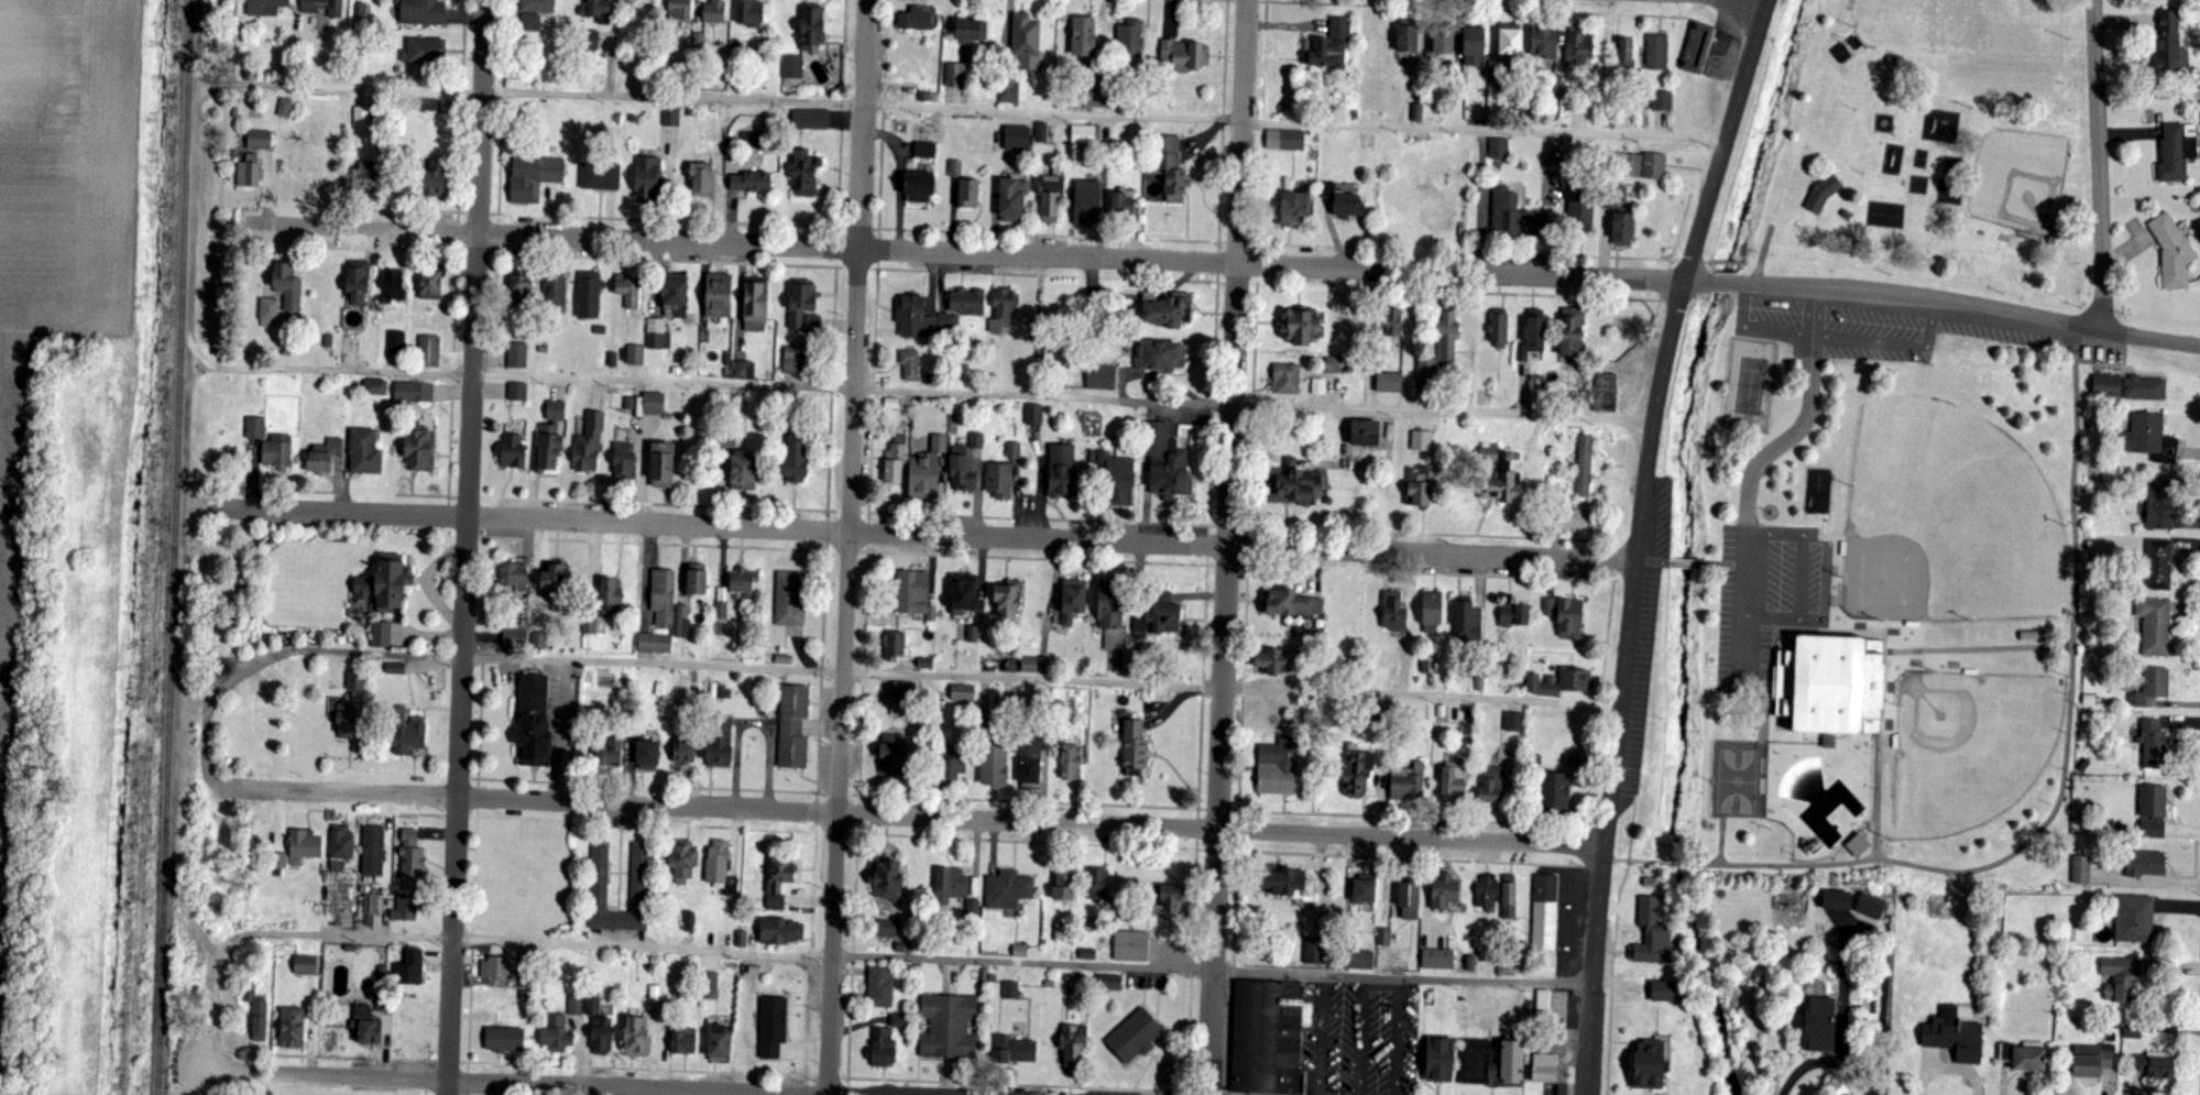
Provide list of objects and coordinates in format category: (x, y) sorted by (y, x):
road: (1247, 0)
building: (266, 7)
building: (324, 7)
building: (679, 10)
building: (600, 11)
building: (422, 12)
building: (714, 12)
building: (534, 13)
building: (748, 13)
building: (917, 19)
building: (812, 28)
building: (968, 30)
building: (1083, 36)
building: (1408, 39)
building: (1131, 40)
building: (1511, 40)
building: (591, 41)
building: (1443, 42)
building: (1544, 42)
building: (1026, 43)
building: (1474, 45)
building: (2170, 45)
building: (1328, 47)
building: (1580, 48)
road: (1266, 50)
building: (1626, 50)
building: (1697, 50)
building: (424, 51)
building: (1656, 52)
building: (1185, 55)
building: (792, 67)
building: (955, 77)
crop: (68, 90)
building: (1008, 90)
building: (1096, 100)
building: (1662, 101)
building: (285, 108)
road: (961, 108)
road: (462, 111)
road: (841, 113)
road: (883, 113)
building: (362, 117)
building: (671, 117)
road: (1223, 117)
building: (811, 120)
building: (1083, 134)
building: (1017, 138)
building: (260, 140)
building: (1291, 141)
building: (1499, 149)
park: (1931, 149)
building: (924, 150)
building: (2176, 152)
road: (500, 161)
road: (2093, 165)
building: (1633, 166)
building: (1654, 166)
building: (955, 168)
building: (1172, 168)
building: (249, 172)
building: (805, 174)
building: (534, 176)
building: (600, 176)
building: (361, 179)
building: (647, 179)
building: (702, 180)
park: (2021, 180)
building: (434, 183)
building: (749, 183)
building: (919, 188)
building: (1329, 190)
building: (968, 194)
building: (1823, 194)
building: (1050, 196)
building: (1013, 199)
building: (1087, 202)
building: (1121, 204)
building: (1348, 206)
building: (1289, 208)
road: (360, 209)
building: (1504, 210)
building: (1581, 210)
road: (463, 212)
road: (479, 212)
building: (1847, 215)
road: (709, 223)
road: (370, 229)
road: (841, 229)
road: (858, 229)
road: (879, 230)
building: (1623, 230)
road: (458, 232)
road: (1053, 236)
road: (1223, 242)
road: (1239, 243)
road: (1298, 244)
road: (499, 250)
road: (878, 250)
building: (2172, 252)
road: (1094, 258)
road: (650, 260)
road: (1676, 261)
road: (1218, 262)
road: (1692, 262)
road: (1255, 263)
road: (1707, 263)
road: (1727, 263)
road: (1748, 264)
road: (878, 266)
road: (856, 267)
road: (875, 269)
road: (904, 270)
road: (1218, 278)
road: (1163, 281)
building: (358, 282)
road: (1723, 282)
road: (1237, 283)
road: (1254, 283)
building: (394, 285)
building: (288, 286)
building: (430, 286)
road: (1359, 287)
building: (555, 291)
building: (522, 292)
building: (628, 293)
building: (588, 295)
building: (718, 295)
road: (456, 296)
building: (675, 296)
building: (800, 302)
building: (967, 303)
building: (755, 305)
road: (1970, 305)
building: (1003, 310)
building: (269, 313)
building: (1169, 313)
building: (915, 318)
building: (949, 321)
building: (813, 322)
building: (1393, 324)
building: (1300, 327)
building: (1498, 328)
parking lot: (1898, 330)
road: (1215, 333)
building: (1573, 333)
building: (658, 335)
building: (1533, 336)
building: (396, 342)
building: (1441, 350)
building: (429, 351)
building: (517, 355)
building: (635, 355)
building: (1160, 357)
building: (797, 359)
building: (1334, 365)
building: (911, 366)
building: (743, 371)
building: (1101, 377)
building: (1288, 379)
building: (1389, 383)
park: (1749, 383)
road: (831, 385)
building: (375, 386)
building: (2108, 387)
road: (916, 388)
building: (2144, 388)
building: (517, 392)
building: (414, 394)
road: (1212, 401)
building: (653, 404)
building: (1033, 415)
road: (1806, 417)
road: (186, 423)
building: (255, 428)
building: (1365, 434)
building: (550, 438)
building: (2150, 438)
building: (976, 440)
building: (1422, 441)
building: (589, 446)
building: (422, 447)
building: (1014, 450)
building: (513, 451)
building: (277, 452)
building: (364, 452)
building: (325, 456)
building: (624, 460)
building: (796, 460)
building: (895, 462)
building: (1164, 463)
road: (450, 464)
building: (661, 466)
building: (1585, 467)
road: (1211, 469)
building: (962, 470)
building: (743, 471)
building: (927, 471)
building: (1062, 471)
road: (871, 472)
building: (1118, 479)
building: (1502, 479)
building: (999, 481)
building: (1292, 484)
building: (1420, 488)
road: (449, 497)
building: (2160, 503)
road: (666, 505)
road: (828, 512)
road: (348, 513)
road: (849, 513)
road: (869, 514)
park: (1948, 517)
road: (1042, 519)
building: (1575, 521)
road: (1228, 526)
road: (827, 532)
road: (868, 534)
road: (1420, 534)
road: (1052, 537)
road: (1638, 541)
road: (652, 545)
road: (1207, 546)
railway: (172, 547)
road: (468, 547)
road: (845, 547)
road: (1225, 547)
road: (1248, 548)
road: (831, 551)
road: (847, 551)
road: (864, 551)
road: (1038, 559)
road: (1207, 561)
road: (1248, 563)
road: (1666, 563)
road: (1687, 563)
road: (1712, 565)
building: (2159, 565)
road: (1227, 567)
road: (1491, 576)
building: (514, 577)
road: (1802, 578)
building: (697, 580)
building: (391, 582)
building: (743, 582)
building: (552, 584)
building: (363, 589)
building: (610, 592)
building: (916, 594)
building: (964, 594)
building: (664, 598)
building: (789, 599)
parking lot: (1767, 599)
building: (1073, 601)
road: (1743, 601)
building: (1007, 602)
building: (1290, 604)
building: (1109, 606)
road: (865, 607)
building: (1548, 607)
building: (1432, 610)
building: (1394, 612)
building: (1514, 615)
building: (1159, 616)
building: (1569, 620)
building: (682, 622)
building: (1468, 622)
building: (590, 626)
building: (2155, 626)
building: (381, 635)
parking lot: (1645, 637)
building: (515, 638)
building: (1115, 639)
building: (655, 644)
building: (894, 646)
building: (1276, 664)
building: (1035, 665)
road: (821, 671)
road: (856, 672)
building: (355, 682)
building: (1561, 683)
building: (1832, 685)
building: (2153, 688)
road: (1202, 691)
road: (1243, 691)
building: (899, 692)
building: (963, 693)
crop: (7, 703)
building: (344, 718)
building: (533, 720)
building: (1514, 722)
building: (792, 727)
building: (406, 733)
road: (862, 742)
building: (1829, 742)
building: (720, 744)
park: (1968, 744)
building: (2154, 745)
building: (1134, 748)
building: (683, 752)
building: (610, 754)
building: (893, 754)
building: (648, 756)
building: (1031, 760)
building: (1071, 763)
building: (950, 764)
building: (994, 767)
building: (1277, 770)
building: (1357, 771)
road: (2064, 776)
park: (1740, 780)
road: (596, 784)
building: (1408, 784)
building: (1454, 784)
building: (1490, 787)
road: (340, 791)
building: (1555, 793)
road: (1026, 802)
road: (1219, 810)
road: (1236, 811)
building: (2154, 812)
road: (377, 813)
road: (1198, 813)
road: (860, 814)
road: (1028, 821)
road: (1539, 824)
road: (694, 826)
road: (1240, 828)
road: (1197, 829)
road: (1633, 829)
road: (860, 830)
building: (305, 845)
road: (1196, 845)
building: (1858, 845)
building: (341, 847)
road: (1217, 851)
building: (373, 852)
building: (412, 855)
road: (1404, 858)
building: (280, 861)
building: (683, 861)
road: (1622, 861)
road: (1651, 862)
building: (718, 863)
road: (1598, 864)
road: (1682, 864)
building: (2146, 864)
building: (2081, 869)
building: (641, 877)
building: (886, 879)
building: (1287, 883)
building: (778, 884)
building: (951, 886)
building: (1063, 887)
building: (1098, 887)
building: (1007, 889)
building: (1365, 894)
building: (1445, 894)
building: (1487, 895)
building: (1509, 897)
building: (1837, 901)
building: (1171, 902)
building: (1410, 902)
road: (1194, 904)
road: (1236, 905)
road: (184, 906)
building: (1871, 907)
building: (405, 909)
building: (973, 910)
building: (1544, 913)
building: (2134, 920)
building: (689, 921)
building: (887, 929)
building: (780, 930)
building: (1653, 934)
building: (1384, 937)
building: (1131, 946)
building: (1313, 949)
road: (842, 957)
building: (1438, 959)
building: (1359, 960)
building: (305, 965)
building: (411, 967)
building: (496, 967)
road: (1192, 967)
road: (1611, 976)
building: (2117, 979)
building: (1109, 982)
building: (712, 986)
building: (880, 986)
building: (1010, 990)
building: (1666, 990)
building: (1543, 1001)
building: (576, 1006)
building: (593, 1006)
road: (851, 1009)
building: (256, 1014)
building: (898, 1020)
building: (1820, 1023)
building: (365, 1026)
building: (949, 1026)
building: (292, 1027)
building: (773, 1027)
road: (1321, 1033)
road: (1364, 1033)
building: (557, 1034)
building: (602, 1034)
road: (1398, 1034)
building: (1136, 1036)
building: (1955, 1036)
building: (637, 1037)
building: (1270, 1038)
building: (504, 1039)
building: (683, 1040)
building: (1072, 1042)
building: (719, 1043)
building: (884, 1047)
building: (1014, 1050)
building: (2006, 1052)
road: (347, 1058)
building: (1440, 1059)
building: (2029, 1059)
building: (2092, 1060)
road: (449, 1062)
road: (1826, 1063)
building: (1649, 1064)
building: (2155, 1064)
building: (1496, 1065)
building: (1544, 1066)
road: (469, 1067)
road: (326, 1070)
road: (641, 1070)
road: (182, 1071)
road: (830, 1077)
road: (844, 1078)
road: (468, 1083)
road: (650, 1085)
road: (1187, 1093)
road: (1206, 1093)

